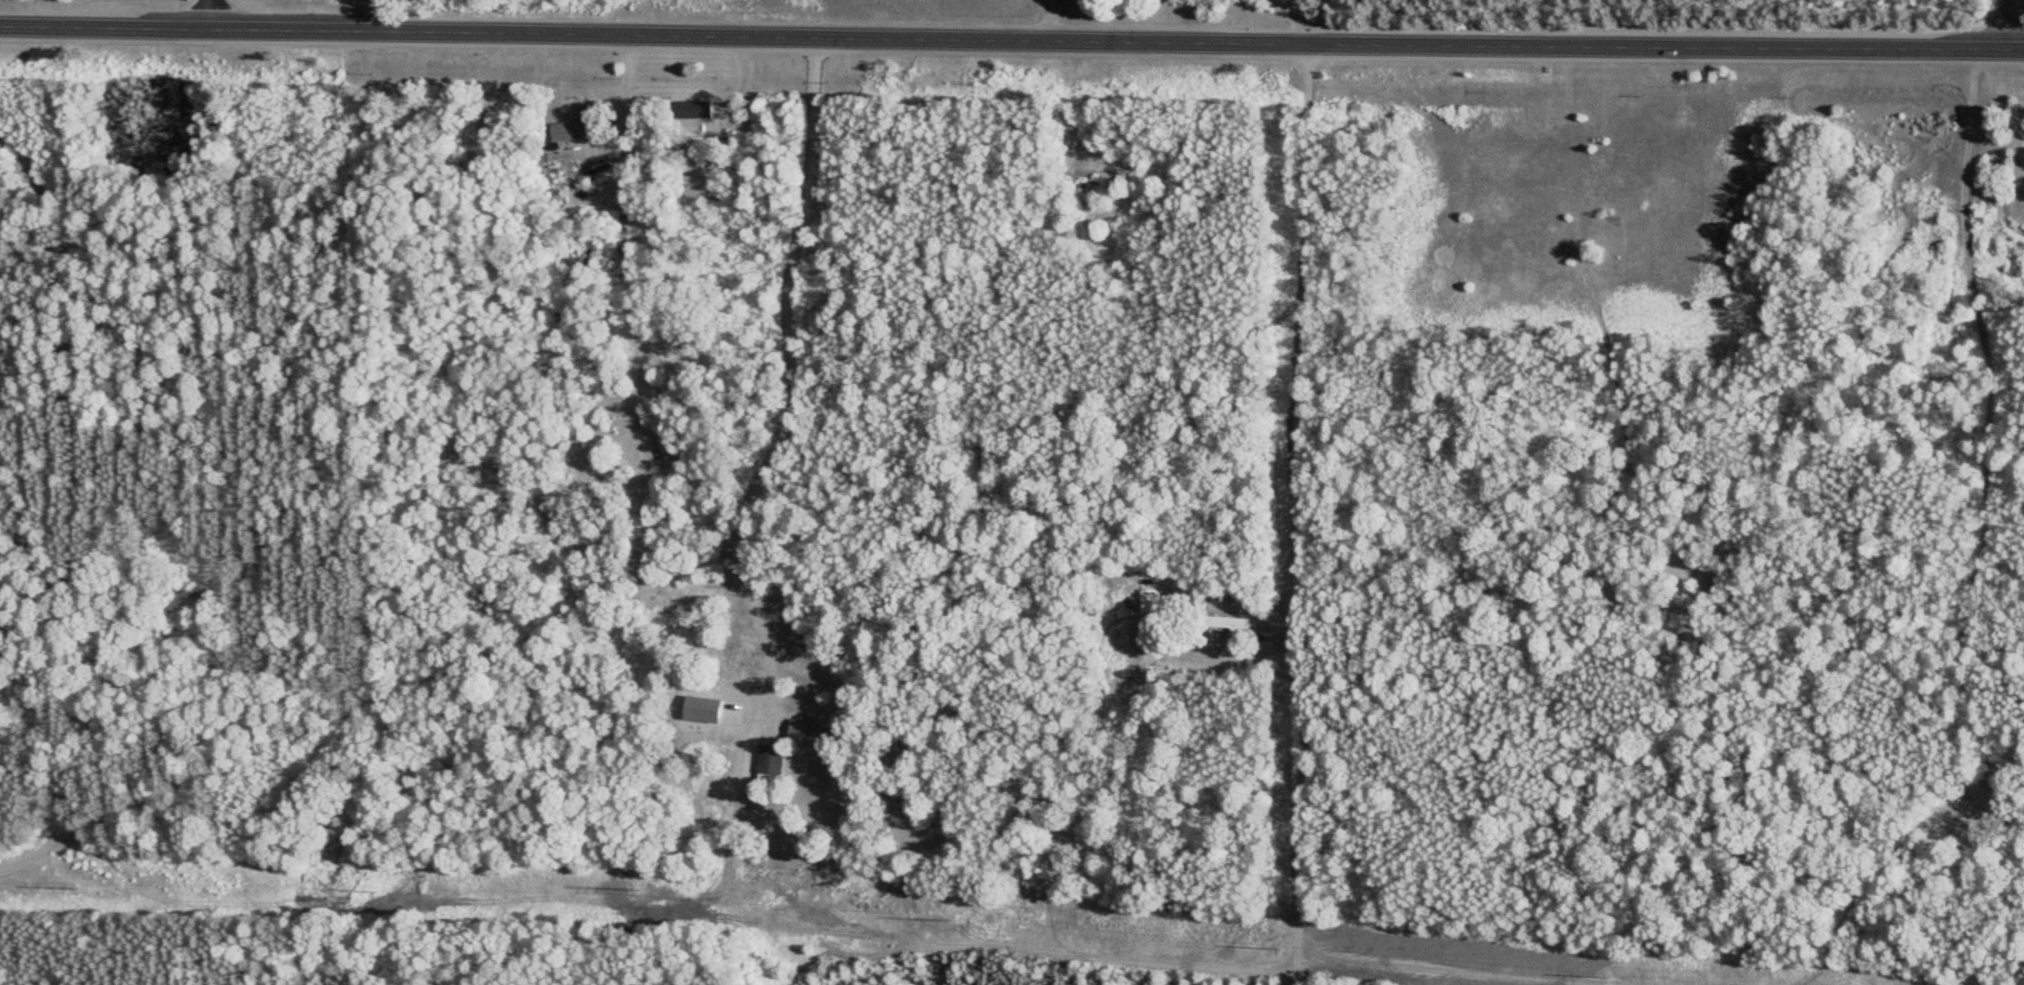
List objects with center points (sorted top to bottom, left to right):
road: (1062, 12)
road: (1296, 19)
road: (2007, 25)
road: (1011, 41)
building: (693, 111)
building: (566, 131)
building: (1102, 215)
road: (792, 393)
road: (45, 473)
road: (1292, 515)
road: (678, 565)
building: (812, 728)
building: (772, 755)
road: (27, 846)

